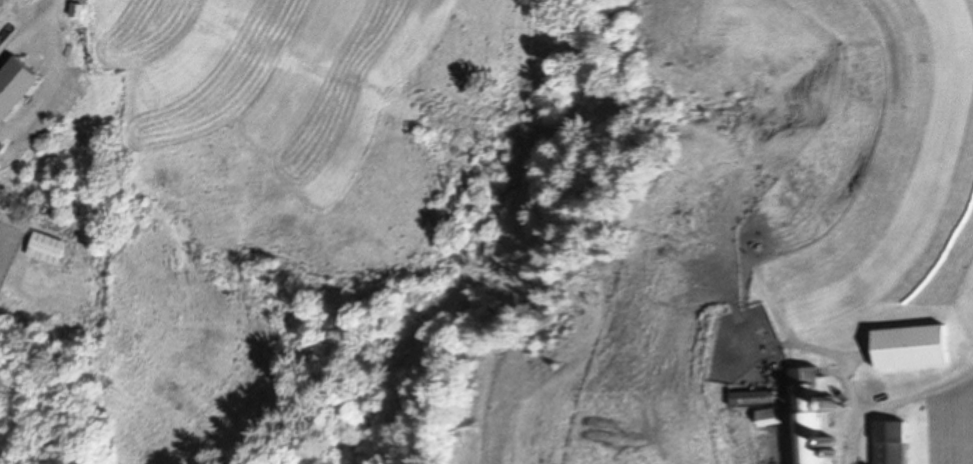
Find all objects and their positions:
building: (908, 348)
road: (893, 399)
building: (770, 418)
building: (811, 418)
building: (889, 442)

